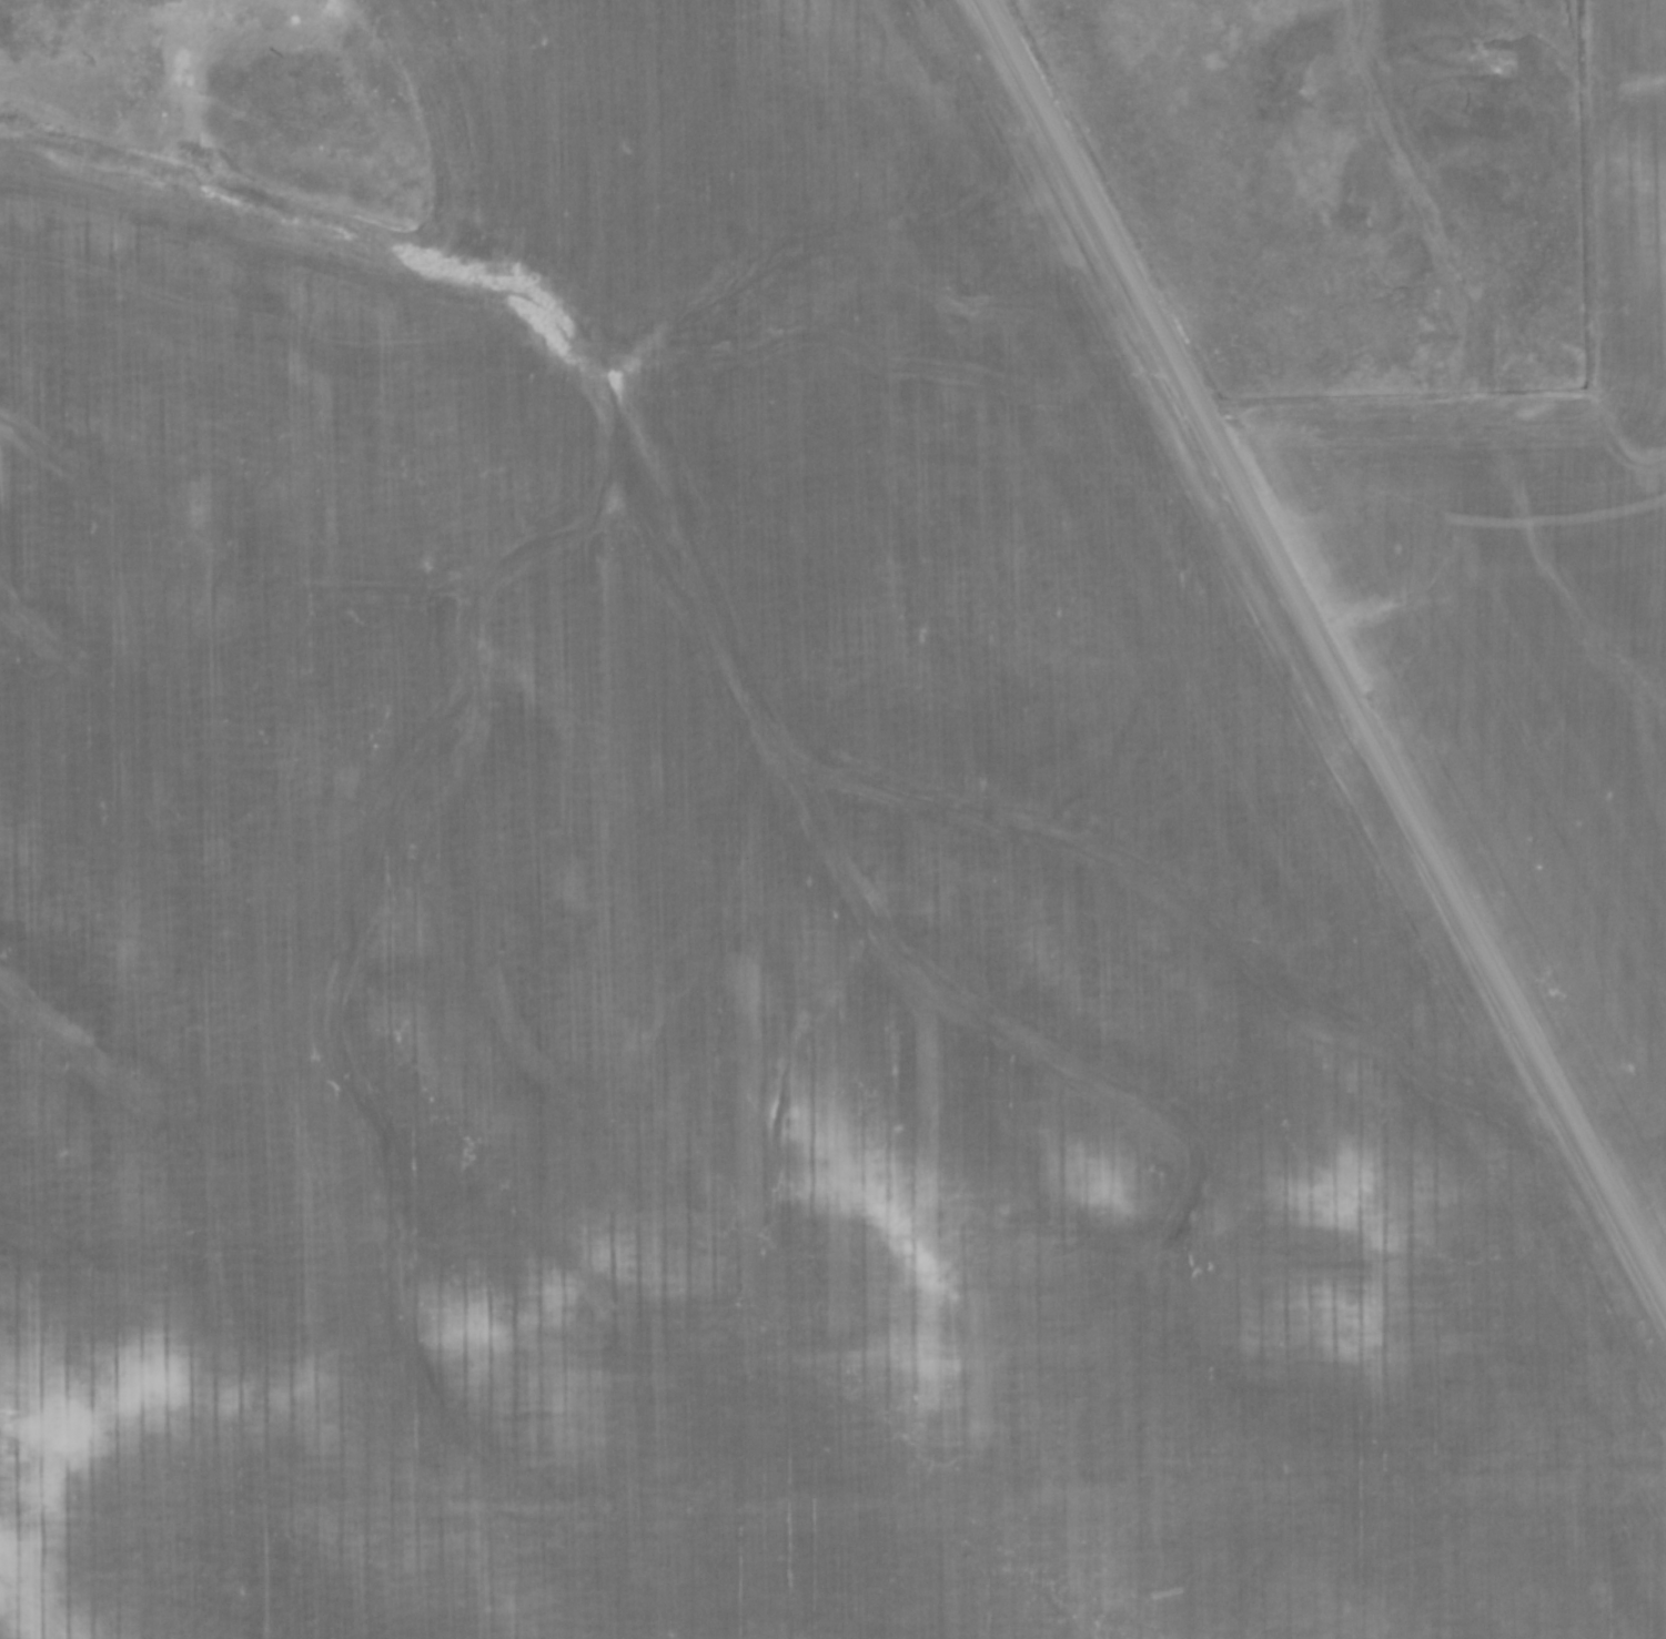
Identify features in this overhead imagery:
crop: (1535, 615)
road: (1323, 649)
crop: (721, 923)

